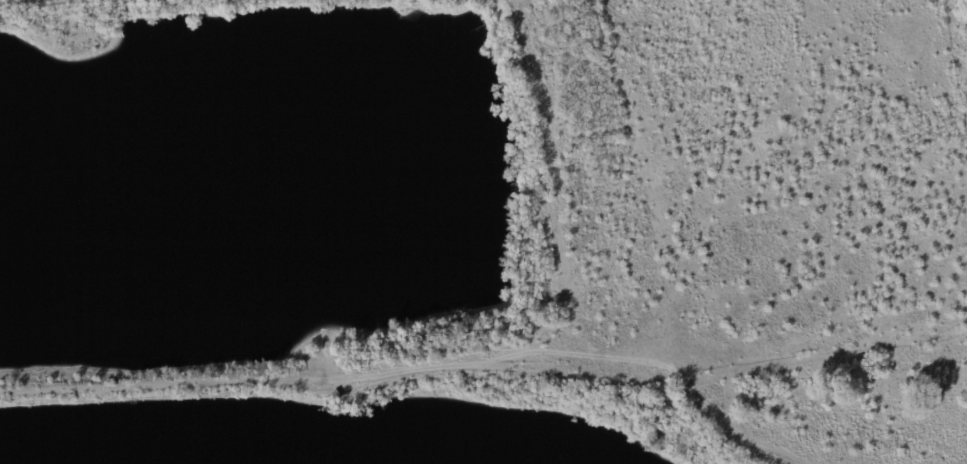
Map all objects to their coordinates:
building: (333, 394)

